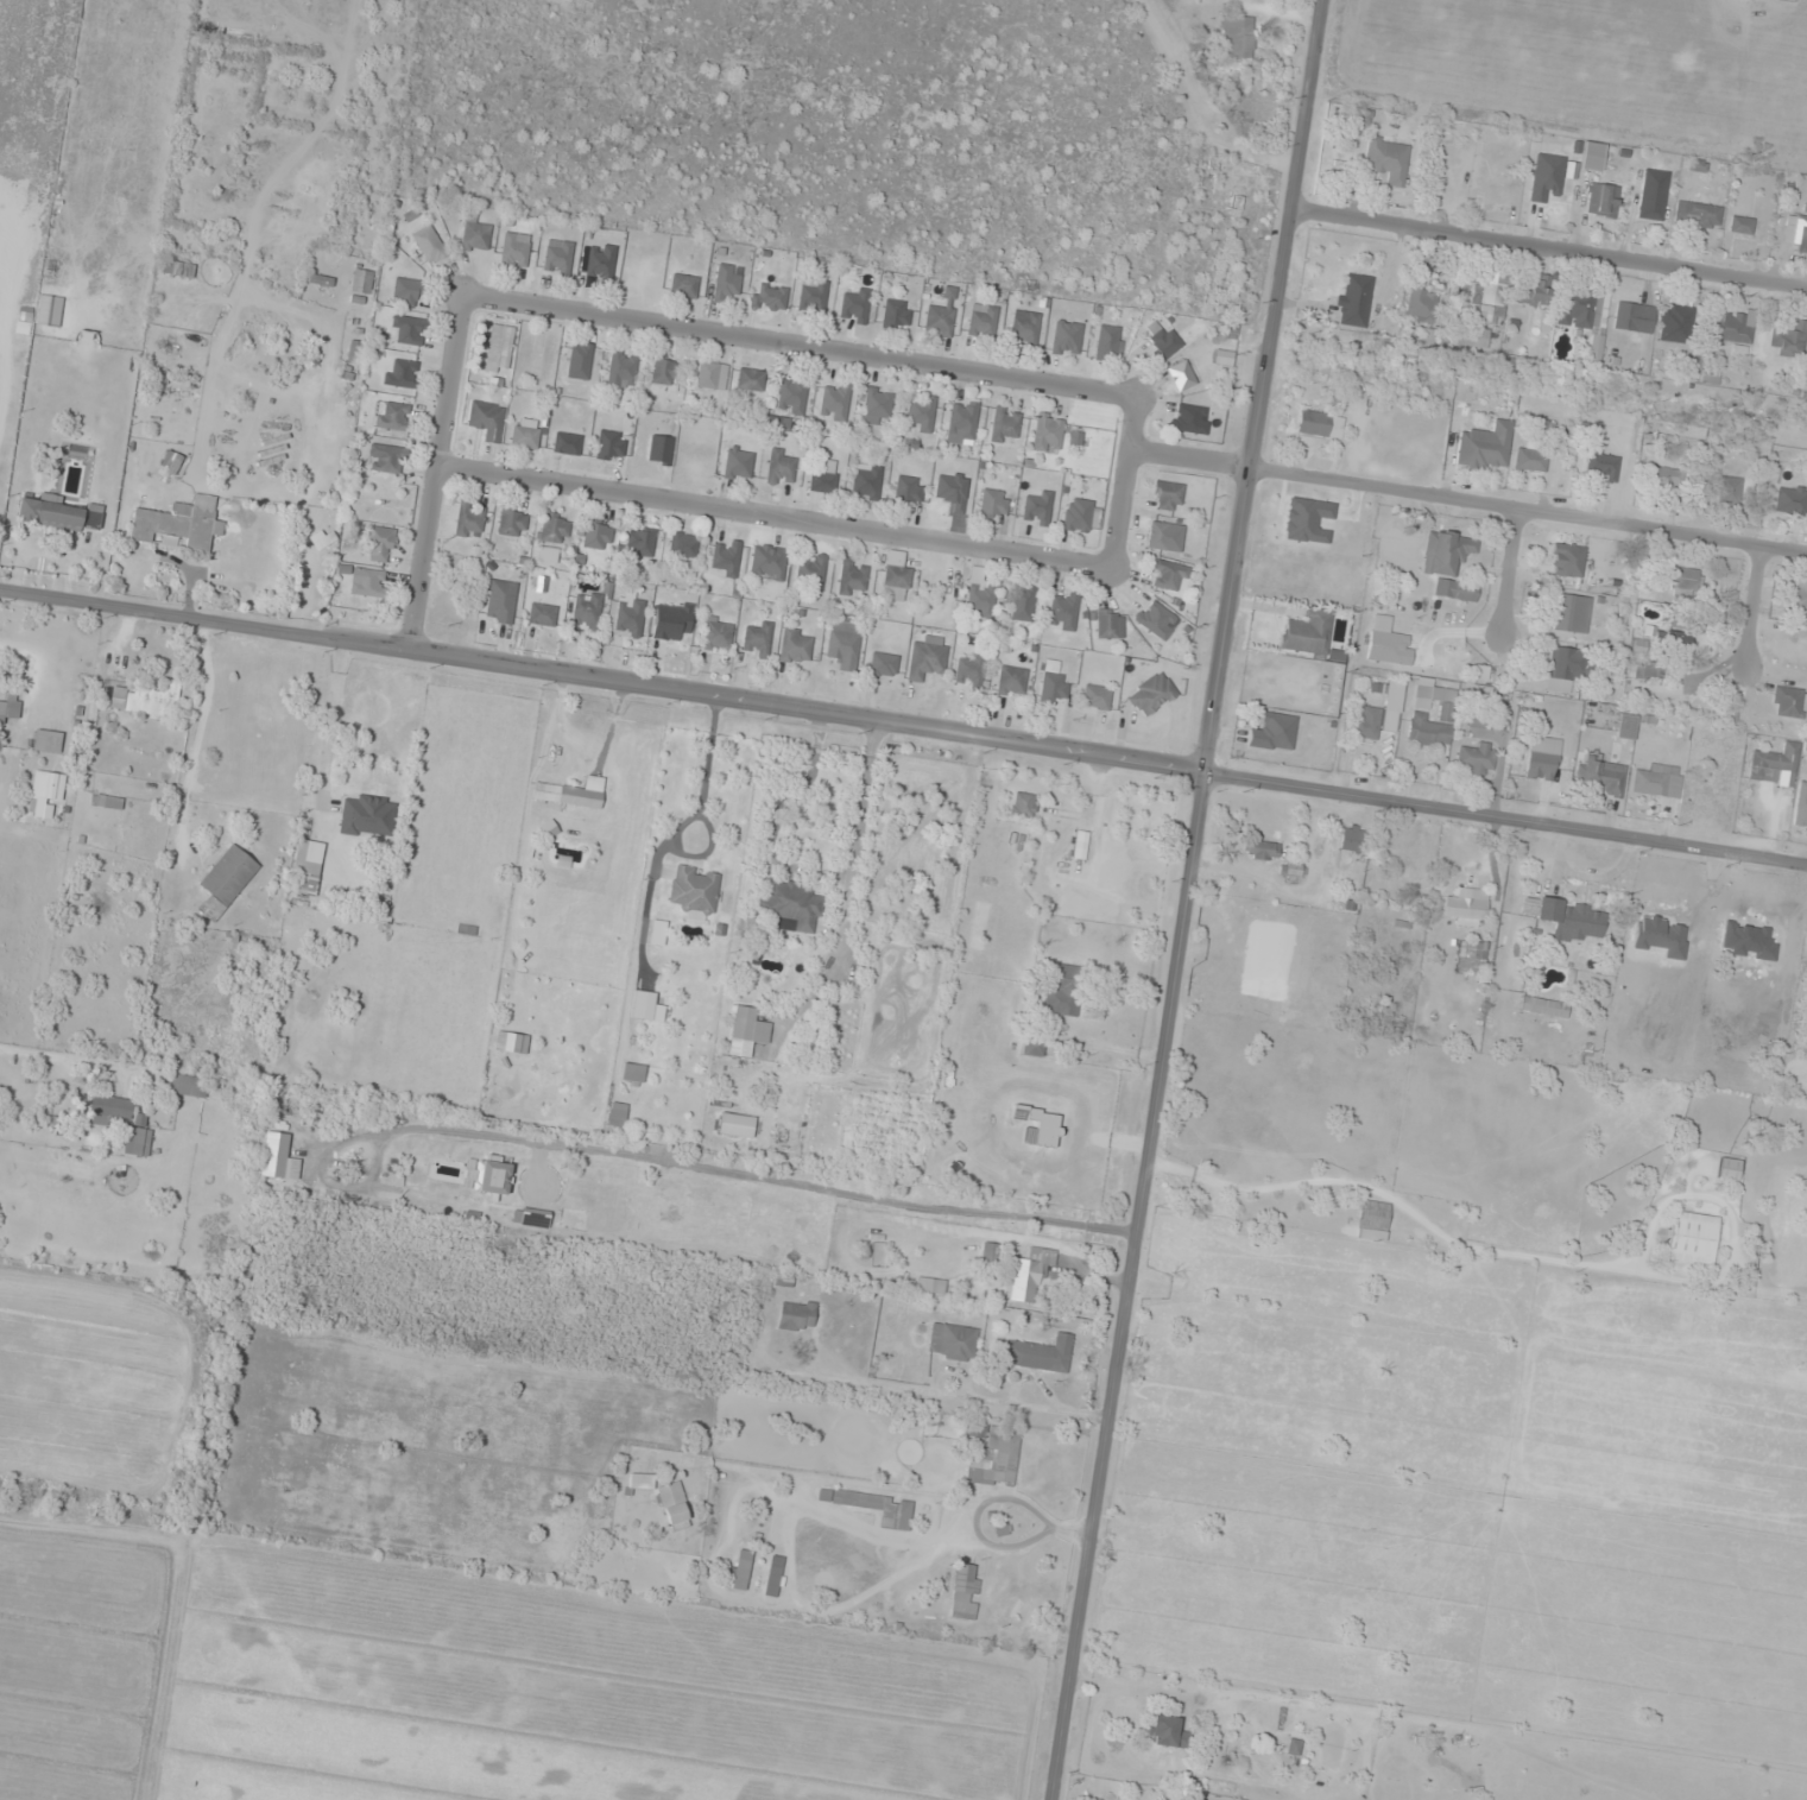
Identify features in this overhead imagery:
building: (1237, 37)
building: (1592, 157)
building: (1388, 159)
building: (1546, 177)
building: (1653, 195)
building: (1237, 197)
building: (1603, 201)
building: (1698, 215)
building: (1740, 226)
building: (1796, 233)
building: (474, 234)
building: (429, 245)
road: (1548, 246)
building: (514, 252)
building: (557, 258)
building: (596, 261)
building: (362, 282)
building: (726, 282)
building: (683, 286)
building: (406, 292)
building: (1528, 293)
building: (811, 296)
building: (769, 297)
building: (1489, 299)
building: (1356, 301)
building: (1422, 304)
building: (855, 307)
building: (1577, 308)
building: (49, 311)
building: (896, 315)
building: (1634, 318)
building: (939, 321)
building: (981, 322)
building: (1674, 324)
building: (1024, 328)
building: (1733, 328)
building: (407, 330)
building: (1472, 337)
building: (1066, 339)
building: (1163, 340)
building: (1789, 340)
road: (797, 342)
building: (1107, 343)
building: (499, 349)
building: (354, 350)
building: (579, 361)
building: (543, 362)
building: (621, 370)
building: (664, 371)
building: (402, 374)
building: (710, 375)
building: (1181, 375)
building: (750, 380)
building: (792, 396)
building: (834, 403)
building: (877, 406)
building: (920, 413)
building: (393, 417)
building: (486, 419)
building: (1188, 419)
building: (961, 422)
building: (1319, 424)
building: (1005, 425)
building: (1048, 434)
building: (525, 437)
building: (567, 444)
building: (609, 447)
building: (1484, 447)
building: (1531, 457)
building: (385, 459)
road: (1186, 462)
building: (1600, 463)
building: (738, 465)
building: (779, 468)
road: (435, 473)
building: (1663, 478)
road: (1120, 480)
building: (822, 482)
building: (866, 482)
building: (908, 491)
building: (1730, 491)
building: (1167, 497)
building: (1790, 500)
building: (993, 505)
building: (1037, 510)
road: (1527, 510)
building: (58, 513)
road: (772, 516)
building: (1076, 516)
building: (468, 519)
building: (512, 523)
building: (178, 525)
building: (554, 529)
building: (596, 535)
building: (1162, 536)
building: (322, 539)
building: (639, 542)
building: (379, 544)
building: (682, 545)
building: (1446, 552)
building: (546, 555)
building: (725, 560)
building: (1566, 560)
building: (767, 562)
building: (810, 571)
road: (1511, 571)
building: (1167, 576)
building: (852, 577)
building: (1685, 581)
building: (368, 582)
building: (895, 583)
building: (1455, 590)
building: (1800, 596)
building: (980, 599)
building: (500, 601)
building: (1022, 604)
road: (1752, 605)
building: (586, 611)
building: (1062, 611)
building: (1568, 612)
building: (542, 614)
building: (628, 618)
building: (1156, 619)
building: (1105, 623)
building: (1681, 630)
building: (1308, 634)
building: (718, 636)
building: (757, 640)
building: (844, 644)
building: (795, 646)
building: (1382, 646)
building: (925, 659)
building: (883, 664)
building: (1567, 664)
building: (969, 670)
building: (1643, 670)
building: (1011, 681)
building: (1053, 683)
building: (1151, 694)
building: (1095, 697)
building: (146, 700)
building: (1787, 702)
building: (10, 707)
building: (1378, 714)
building: (1417, 718)
road: (903, 726)
building: (1625, 726)
building: (1272, 733)
building: (46, 741)
building: (1542, 758)
building: (1474, 759)
building: (1774, 764)
building: (1598, 777)
building: (1655, 783)
building: (45, 790)
building: (571, 792)
building: (106, 801)
building: (1022, 804)
building: (1800, 806)
building: (367, 816)
building: (1353, 836)
building: (1080, 845)
building: (1262, 851)
building: (1290, 869)
building: (305, 871)
building: (226, 880)
building: (693, 889)
road: (1188, 899)
building: (789, 907)
building: (1466, 908)
building: (1567, 917)
building: (656, 933)
building: (1471, 958)
building: (1063, 993)
building: (645, 1006)
building: (1543, 1008)
building: (746, 1031)
building: (1032, 1048)
road: (72, 1062)
building: (1799, 1072)
building: (632, 1074)
building: (185, 1086)
building: (775, 1103)
building: (108, 1110)
building: (617, 1114)
building: (735, 1125)
building: (784, 1138)
building: (137, 1142)
building: (1727, 1169)
building: (949, 1204)
building: (1007, 1208)
building: (1373, 1217)
building: (1692, 1238)
building: (987, 1256)
building: (1028, 1275)
building: (795, 1315)
building: (952, 1341)
building: (1038, 1353)
building: (974, 1429)
building: (994, 1457)
building: (640, 1480)
building: (672, 1503)
building: (873, 1505)
building: (741, 1570)
building: (775, 1575)
building: (965, 1591)
building: (1167, 1732)

